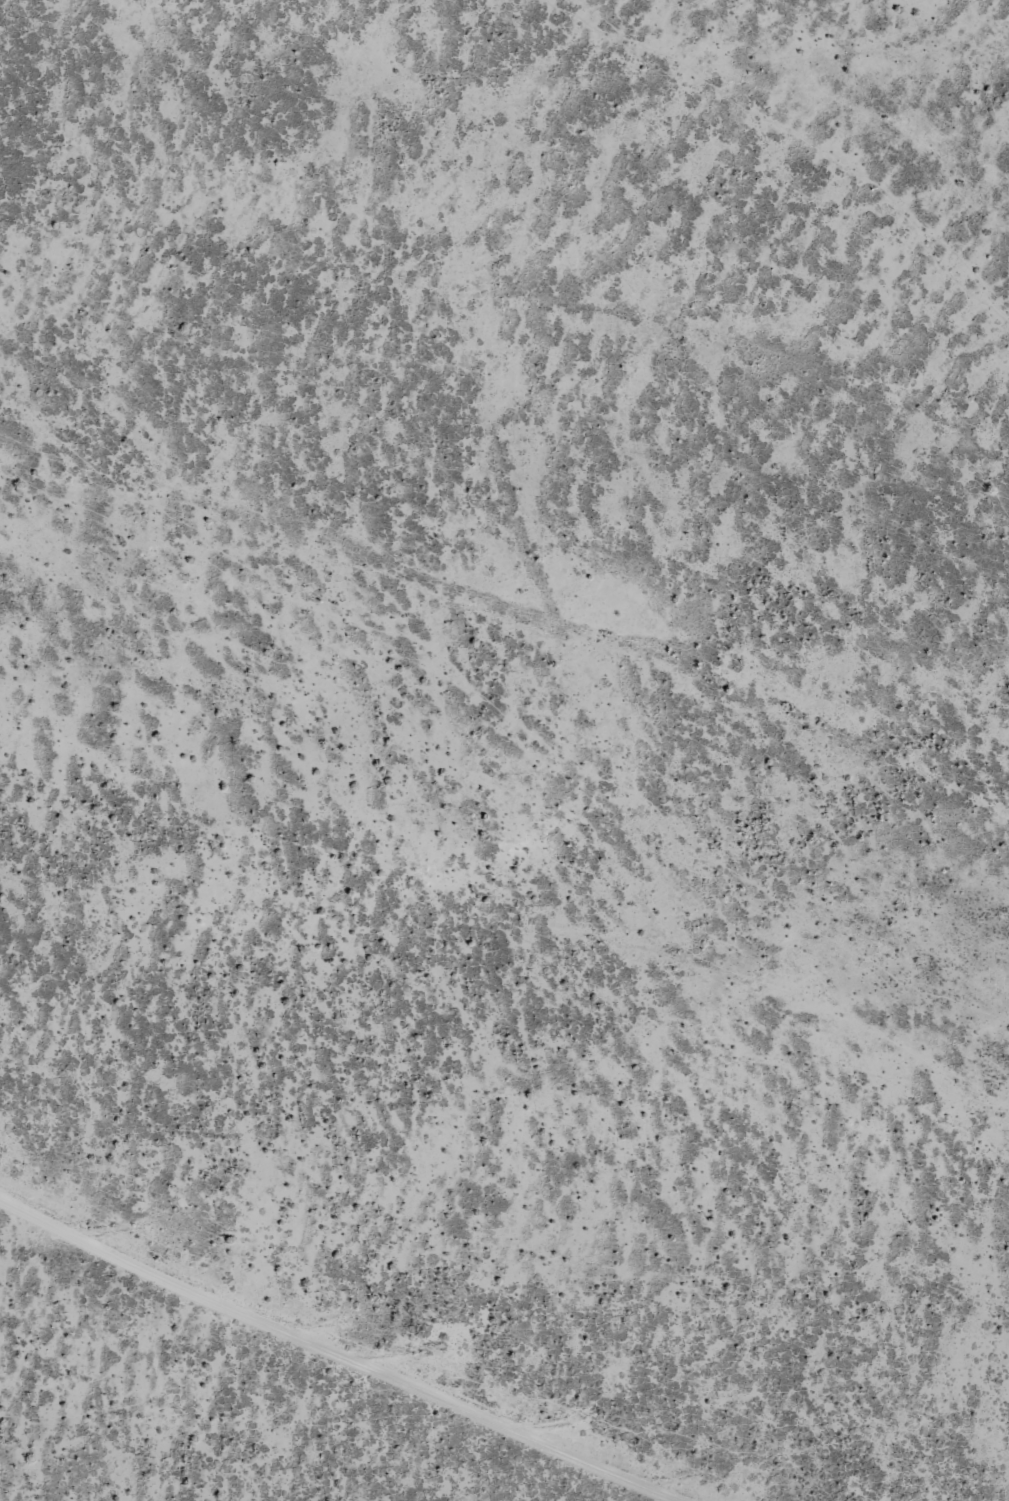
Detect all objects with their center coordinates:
road: (343, 1349)

